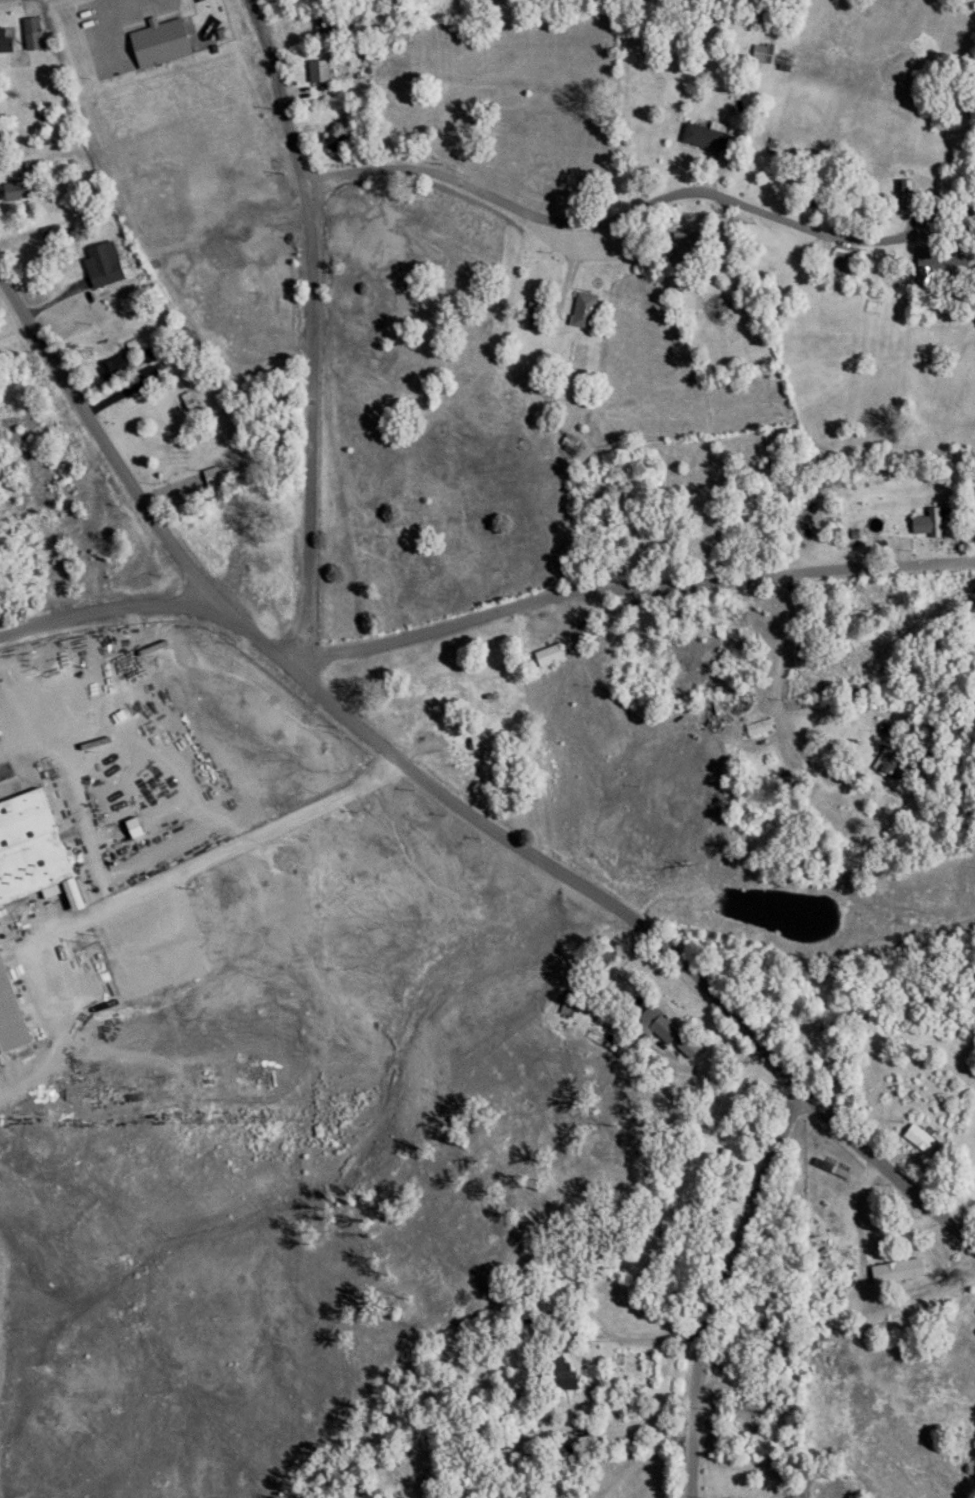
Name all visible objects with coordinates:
building: (29, 34)
building: (3, 41)
building: (155, 45)
building: (760, 54)
building: (315, 72)
building: (702, 137)
building: (335, 142)
building: (10, 192)
road: (605, 221)
building: (101, 275)
building: (533, 308)
building: (579, 312)
road: (317, 331)
building: (111, 368)
road: (106, 439)
building: (567, 445)
building: (209, 478)
building: (917, 524)
road: (627, 589)
road: (110, 611)
building: (622, 647)
building: (546, 656)
road: (780, 685)
building: (755, 728)
building: (476, 741)
building: (888, 766)
building: (39, 856)
road: (616, 902)
road: (639, 1025)
building: (656, 1025)
building: (794, 1027)
building: (916, 1141)
building: (892, 1272)
road: (718, 1283)
road: (587, 1313)
building: (559, 1375)
road: (646, 1456)

